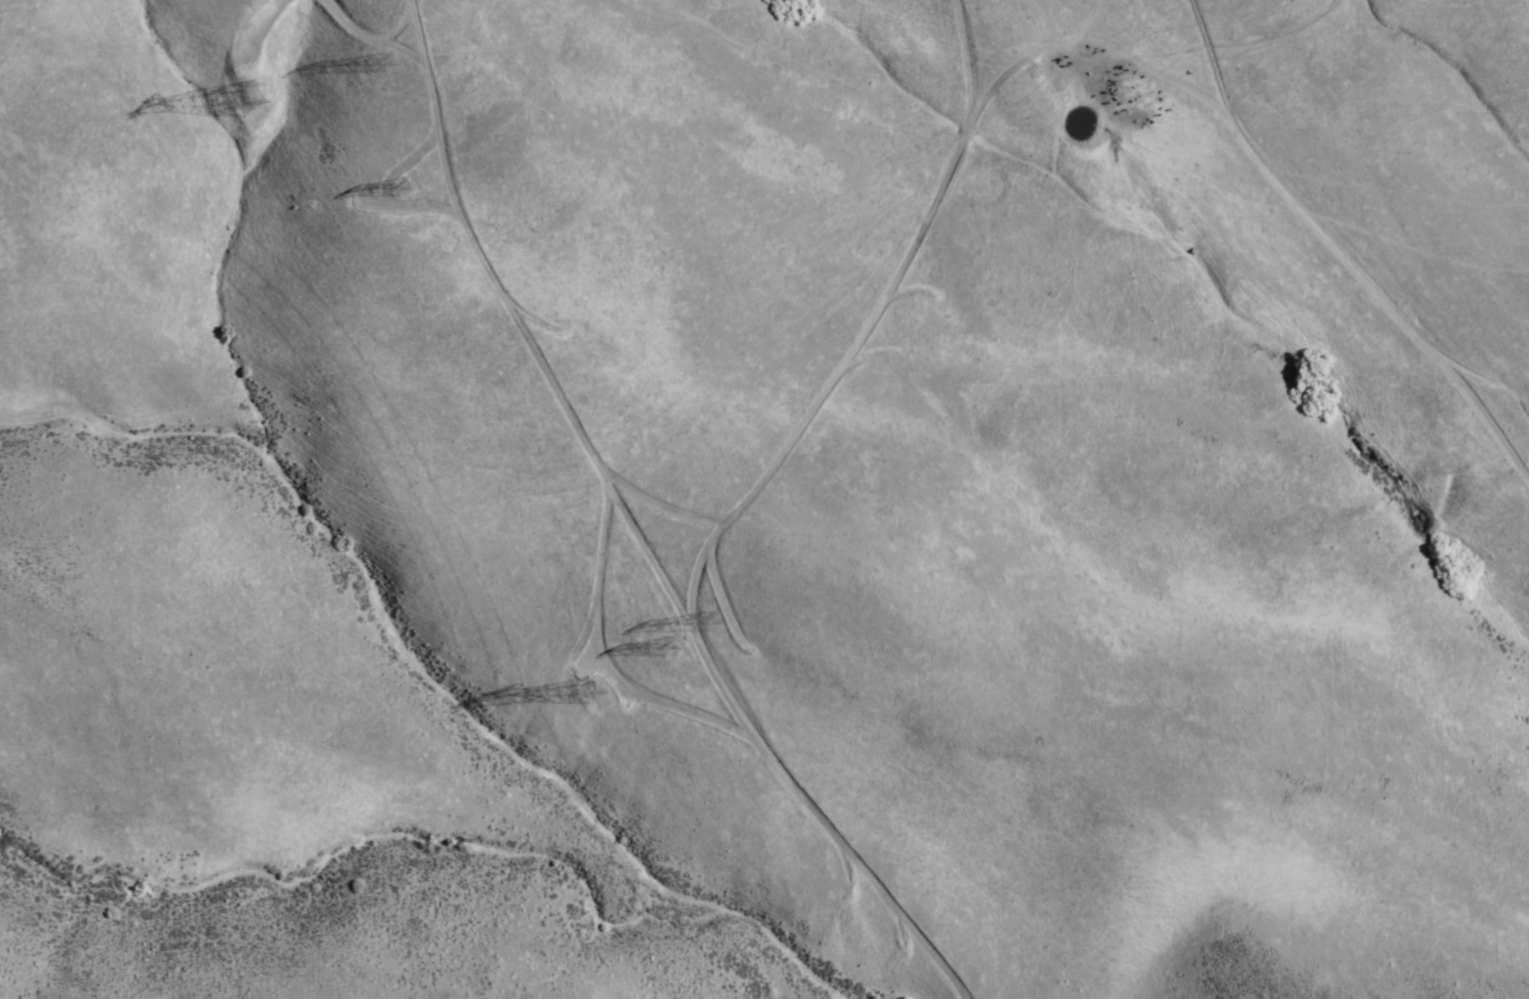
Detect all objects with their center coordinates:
road: (1084, 39)
power tower: (402, 56)
power tower: (269, 91)
power tower: (418, 184)
road: (1341, 246)
road: (507, 302)
road: (722, 513)
power tower: (722, 624)
power tower: (681, 642)
power tower: (605, 681)

